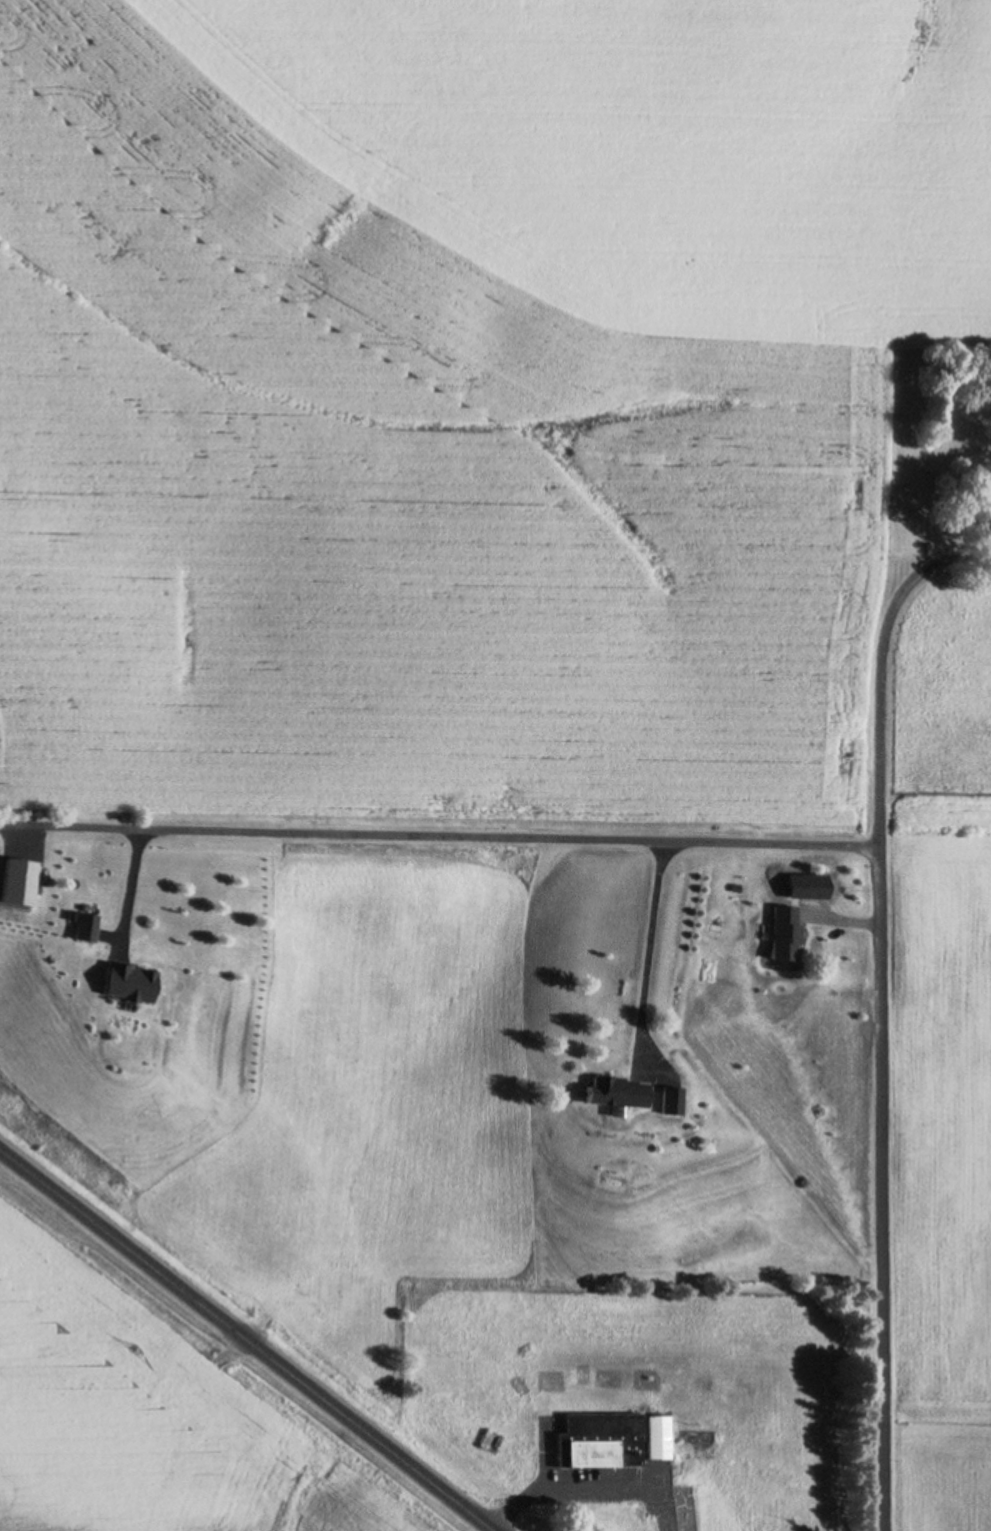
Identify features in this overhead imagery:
road: (931, 565)
road: (441, 832)
road: (133, 874)
building: (782, 923)
building: (84, 928)
road: (649, 941)
building: (129, 968)
road: (882, 1071)
building: (614, 1079)
building: (670, 1089)
building: (614, 1093)
building: (670, 1103)
road: (253, 1336)
building: (614, 1440)
road: (590, 1485)

